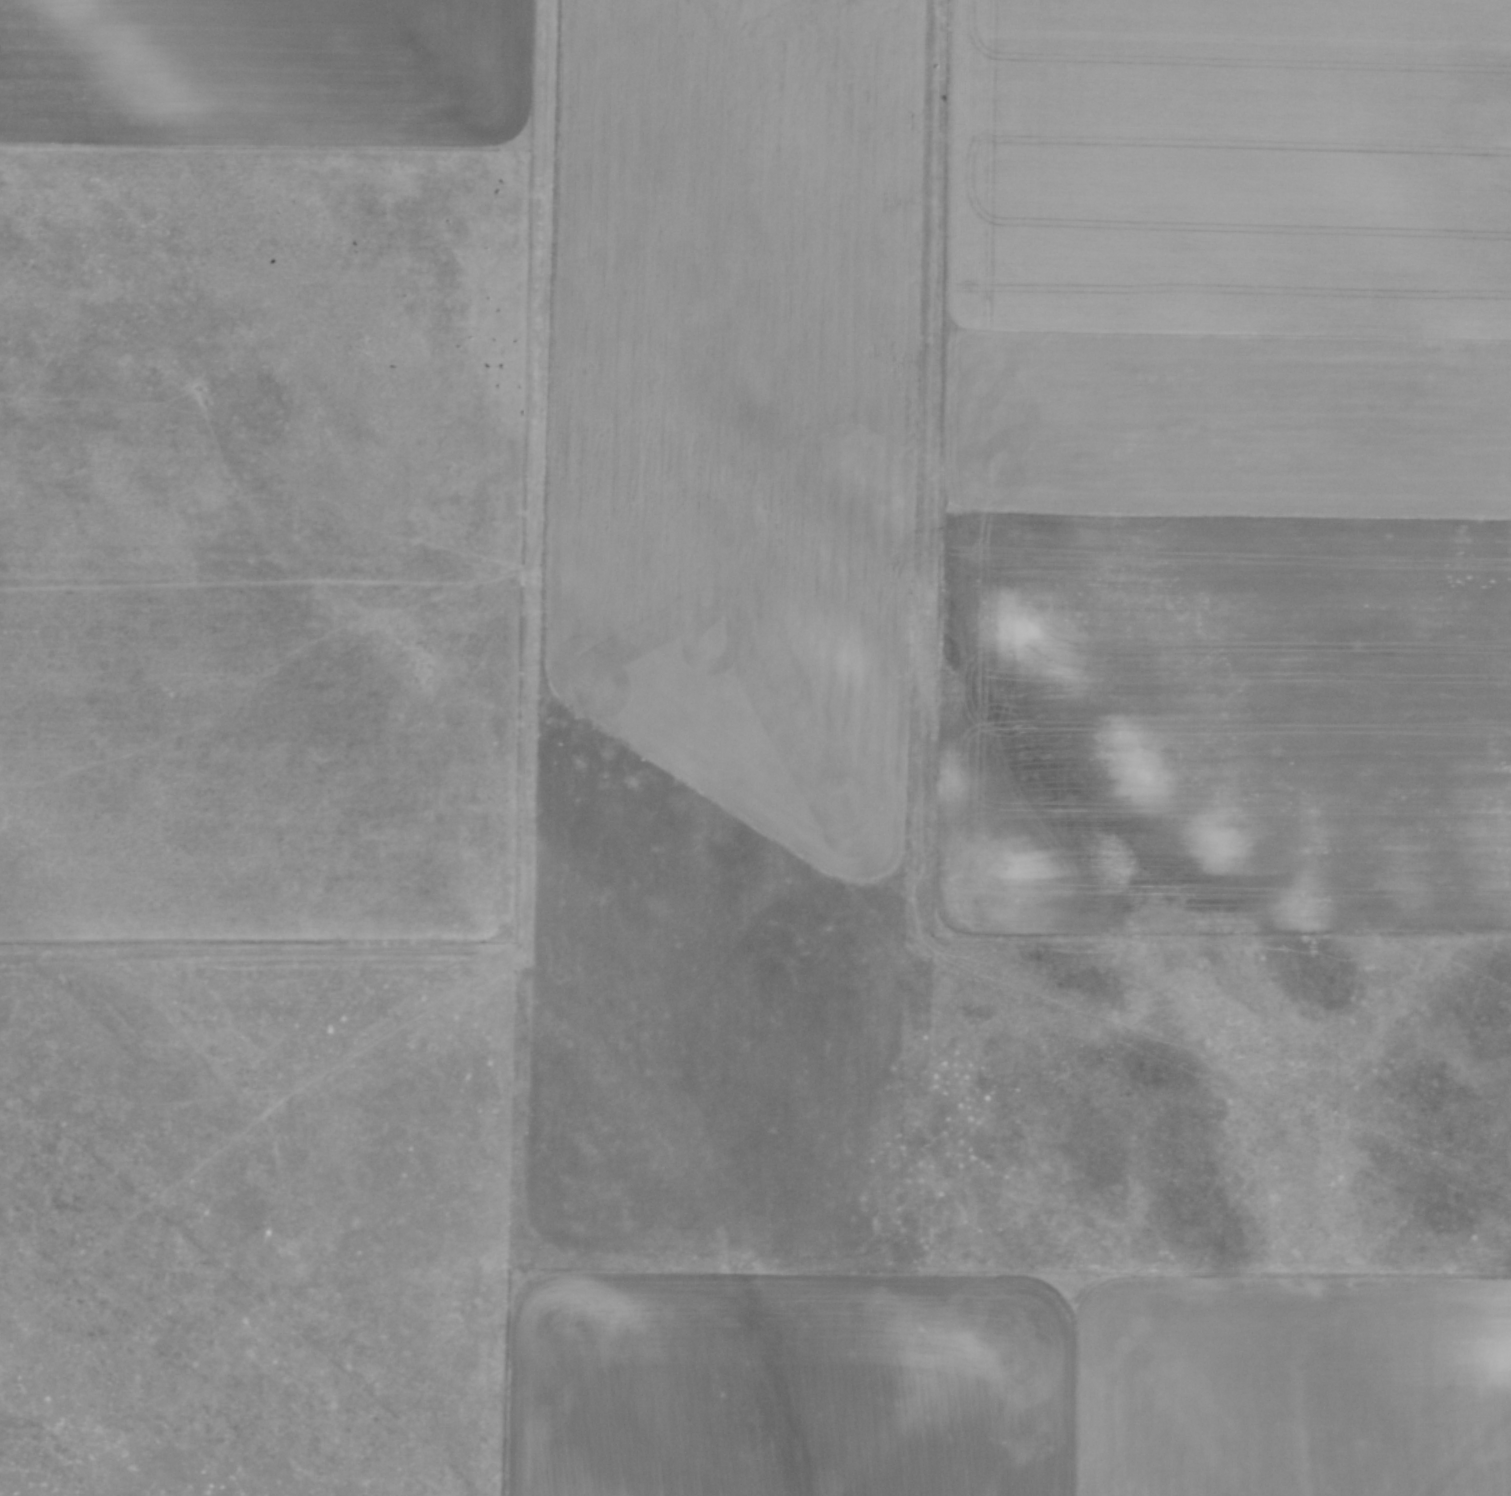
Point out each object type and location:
crop: (946, 662)

